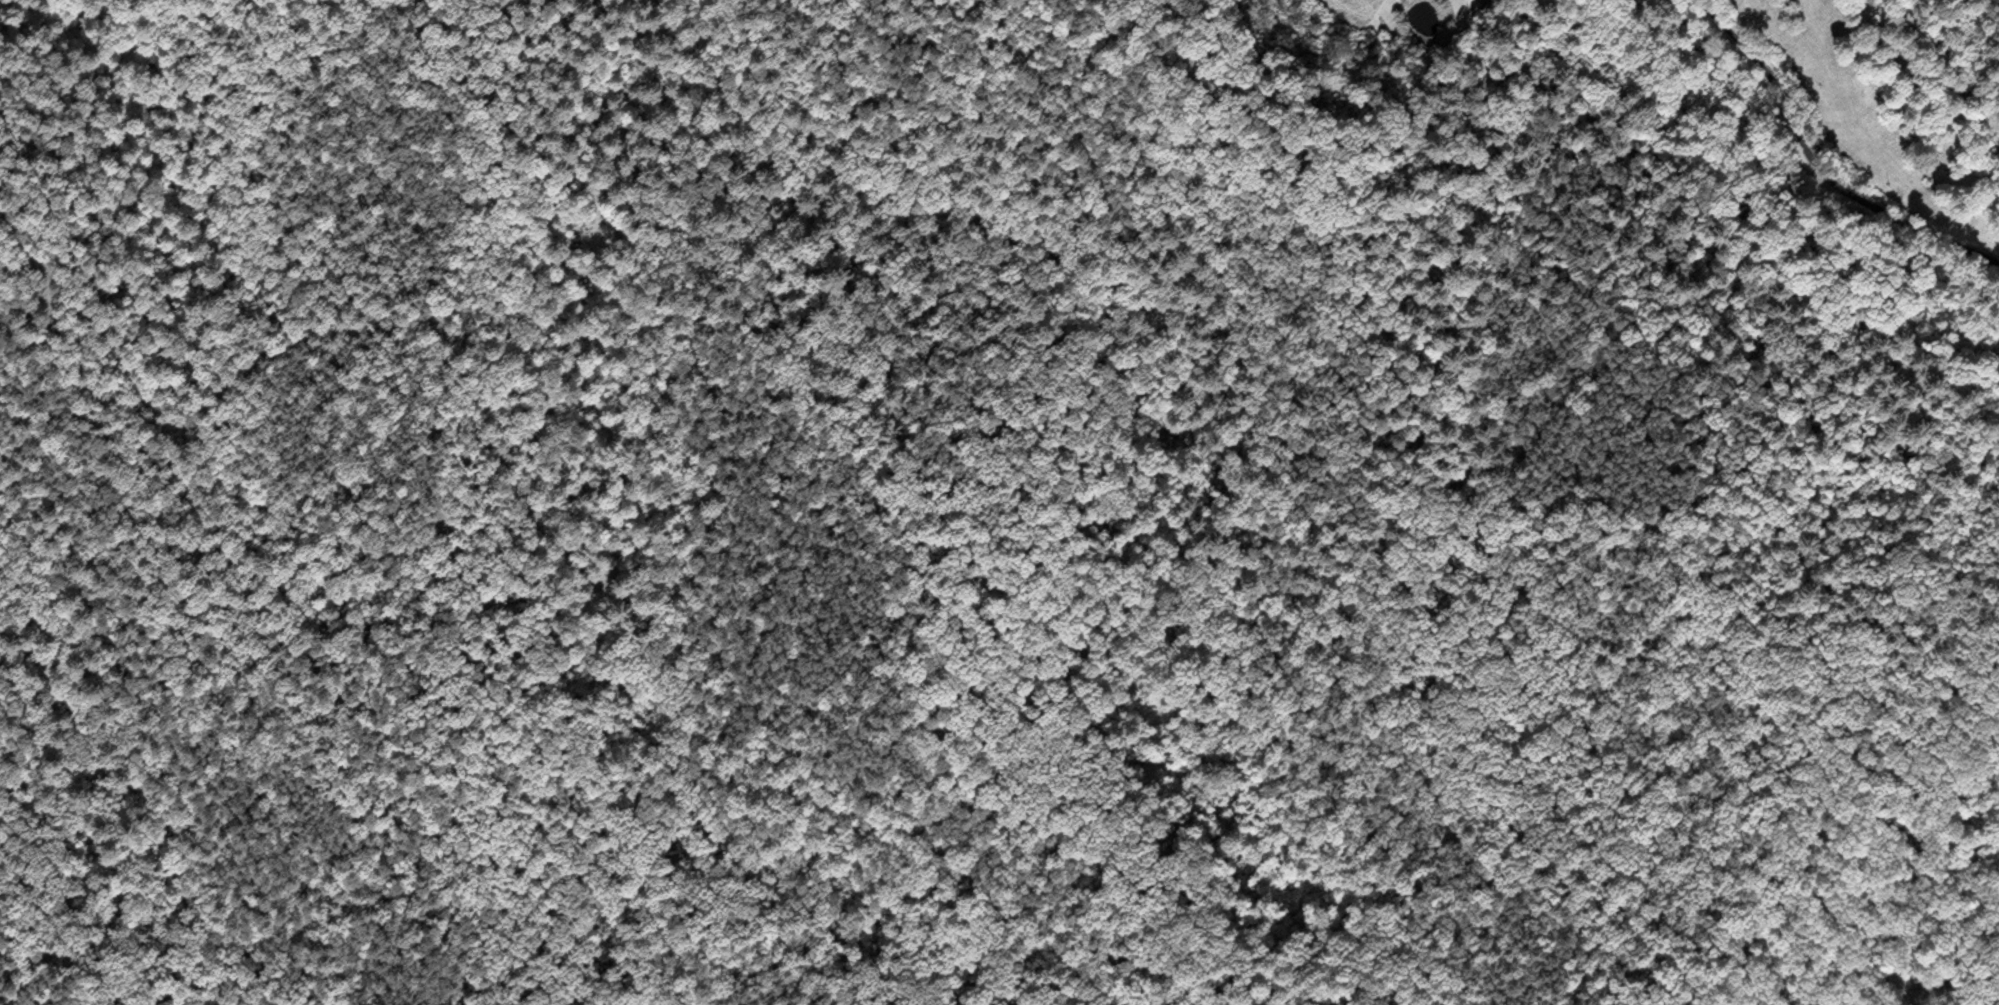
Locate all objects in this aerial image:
road: (1818, 168)

